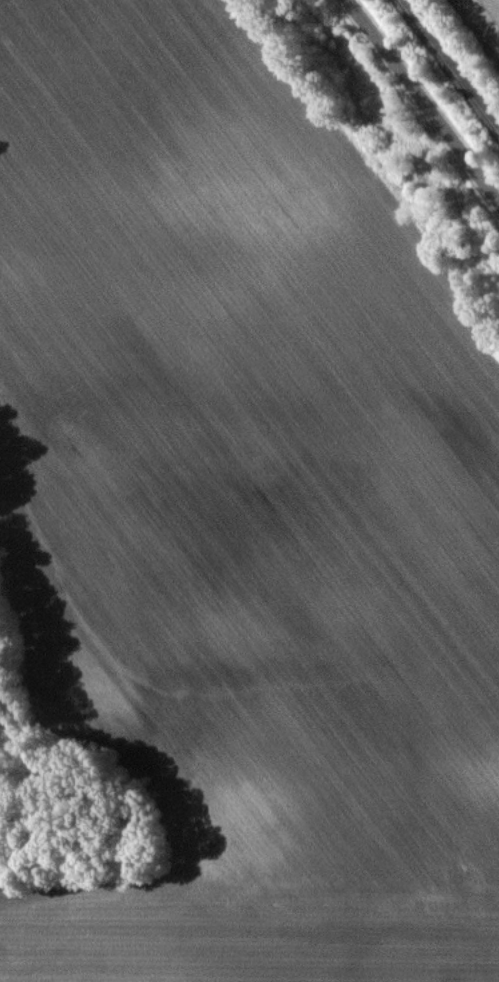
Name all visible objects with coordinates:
railway: (450, 64)
road: (425, 97)

